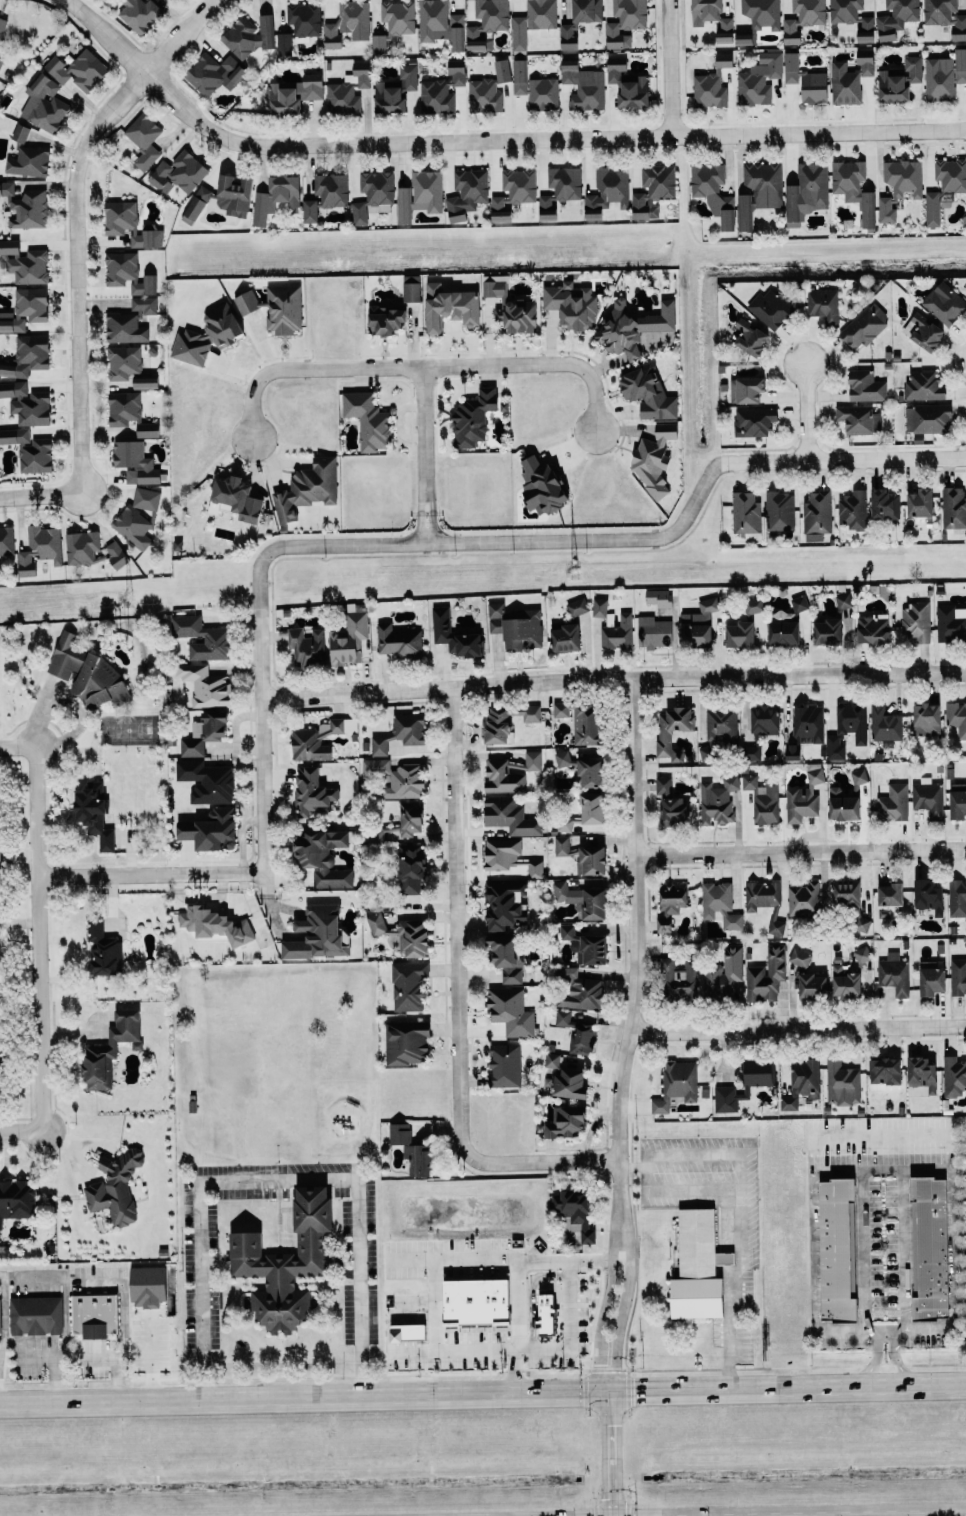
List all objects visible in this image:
building: (173, 0)
building: (587, 10)
building: (762, 13)
building: (140, 14)
building: (945, 16)
building: (853, 17)
building: (896, 17)
building: (304, 18)
building: (712, 18)
building: (802, 18)
building: (533, 21)
building: (625, 21)
building: (347, 22)
building: (395, 22)
building: (487, 22)
building: (440, 23)
building: (2, 26)
building: (249, 36)
building: (568, 36)
building: (744, 38)
building: (284, 43)
building: (1, 60)
road: (671, 67)
building: (791, 67)
building: (78, 70)
building: (502, 70)
building: (215, 73)
building: (520, 76)
building: (944, 76)
building: (760, 79)
building: (849, 80)
building: (899, 80)
building: (628, 84)
building: (712, 84)
building: (584, 85)
building: (814, 87)
building: (348, 90)
building: (396, 90)
building: (441, 91)
building: (294, 93)
building: (543, 93)
building: (484, 96)
building: (44, 104)
building: (21, 133)
road: (491, 138)
building: (144, 139)
building: (29, 162)
building: (951, 174)
building: (899, 185)
building: (853, 187)
building: (560, 189)
building: (427, 190)
building: (654, 190)
building: (759, 190)
building: (807, 191)
building: (514, 192)
building: (607, 192)
building: (713, 192)
building: (467, 193)
building: (234, 194)
building: (327, 194)
building: (373, 194)
building: (275, 197)
building: (196, 204)
building: (403, 205)
building: (26, 206)
building: (932, 208)
building: (129, 224)
building: (24, 262)
road: (78, 262)
building: (128, 272)
building: (411, 288)
building: (247, 301)
building: (945, 302)
building: (571, 305)
building: (824, 305)
building: (450, 307)
building: (512, 308)
building: (771, 308)
building: (25, 309)
building: (284, 309)
building: (385, 320)
building: (130, 321)
building: (633, 325)
building: (865, 325)
building: (923, 331)
building: (208, 335)
building: (751, 337)
building: (27, 356)
building: (123, 362)
road: (423, 366)
building: (146, 381)
building: (865, 386)
building: (924, 386)
building: (746, 389)
building: (648, 393)
building: (27, 403)
road: (806, 409)
building: (129, 414)
building: (474, 417)
building: (928, 418)
building: (859, 419)
building: (368, 420)
building: (754, 421)
building: (29, 450)
road: (424, 455)
building: (135, 462)
building: (542, 486)
building: (308, 488)
building: (238, 498)
building: (920, 503)
building: (885, 504)
building: (954, 507)
building: (853, 510)
building: (746, 512)
building: (779, 512)
building: (817, 512)
building: (138, 517)
building: (6, 540)
road: (473, 542)
building: (40, 548)
building: (90, 549)
power tower: (574, 568)
power tower: (130, 597)
building: (660, 597)
building: (844, 601)
building: (799, 603)
building: (708, 605)
building: (754, 605)
building: (577, 607)
building: (600, 607)
building: (916, 621)
building: (951, 623)
building: (516, 626)
building: (783, 628)
building: (873, 629)
building: (828, 631)
building: (654, 632)
building: (618, 633)
building: (696, 634)
building: (740, 634)
building: (454, 635)
building: (565, 637)
building: (217, 639)
building: (349, 639)
building: (399, 641)
building: (307, 647)
building: (88, 673)
road: (613, 678)
building: (206, 685)
building: (956, 717)
building: (926, 718)
building: (582, 720)
building: (852, 720)
building: (507, 721)
building: (885, 723)
building: (808, 724)
building: (722, 727)
building: (760, 729)
building: (672, 731)
building: (401, 732)
building: (204, 733)
building: (319, 739)
building: (834, 747)
building: (376, 766)
building: (583, 769)
building: (511, 772)
building: (859, 775)
building: (207, 781)
building: (405, 782)
building: (315, 792)
building: (804, 798)
building: (763, 799)
building: (928, 799)
building: (718, 800)
building: (670, 802)
building: (893, 803)
building: (843, 804)
building: (957, 804)
building: (592, 808)
building: (94, 813)
building: (510, 816)
building: (410, 818)
building: (565, 824)
building: (210, 830)
road: (426, 846)
road: (800, 851)
building: (501, 852)
building: (0, 856)
building: (323, 856)
building: (582, 856)
building: (410, 869)
building: (535, 869)
road: (150, 876)
building: (890, 893)
building: (846, 894)
building: (762, 895)
building: (929, 896)
building: (957, 897)
building: (716, 898)
building: (583, 899)
building: (805, 899)
building: (670, 903)
building: (506, 904)
building: (733, 920)
road: (454, 921)
building: (861, 923)
building: (215, 924)
building: (776, 927)
building: (318, 933)
building: (403, 934)
road: (41, 944)
building: (585, 945)
building: (104, 948)
building: (862, 953)
building: (800, 957)
building: (506, 958)
building: (724, 973)
building: (894, 974)
building: (767, 975)
building: (958, 976)
building: (680, 980)
building: (932, 981)
building: (845, 983)
building: (409, 985)
building: (812, 985)
building: (579, 990)
building: (511, 1011)
road: (798, 1028)
building: (578, 1033)
building: (407, 1042)
building: (111, 1049)
building: (552, 1060)
building: (505, 1065)
building: (885, 1070)
building: (922, 1073)
building: (954, 1076)
building: (802, 1082)
building: (569, 1083)
building: (842, 1083)
building: (677, 1084)
building: (744, 1084)
road: (619, 1096)
building: (566, 1121)
building: (413, 1150)
road: (540, 1162)
road: (634, 1167)
road: (277, 1179)
building: (115, 1188)
road: (752, 1188)
building: (16, 1200)
building: (574, 1212)
road: (278, 1216)
parking lot: (960, 1217)
road: (866, 1238)
building: (696, 1244)
building: (927, 1246)
building: (836, 1249)
road: (902, 1257)
building: (286, 1263)
road: (512, 1271)
building: (148, 1286)
road: (733, 1289)
building: (699, 1298)
building: (476, 1301)
road: (429, 1306)
building: (546, 1314)
building: (36, 1315)
building: (95, 1315)
building: (0, 1316)
building: (408, 1332)
road: (568, 1333)
road: (873, 1358)
road: (897, 1358)
road: (482, 1390)
road: (942, 1515)

